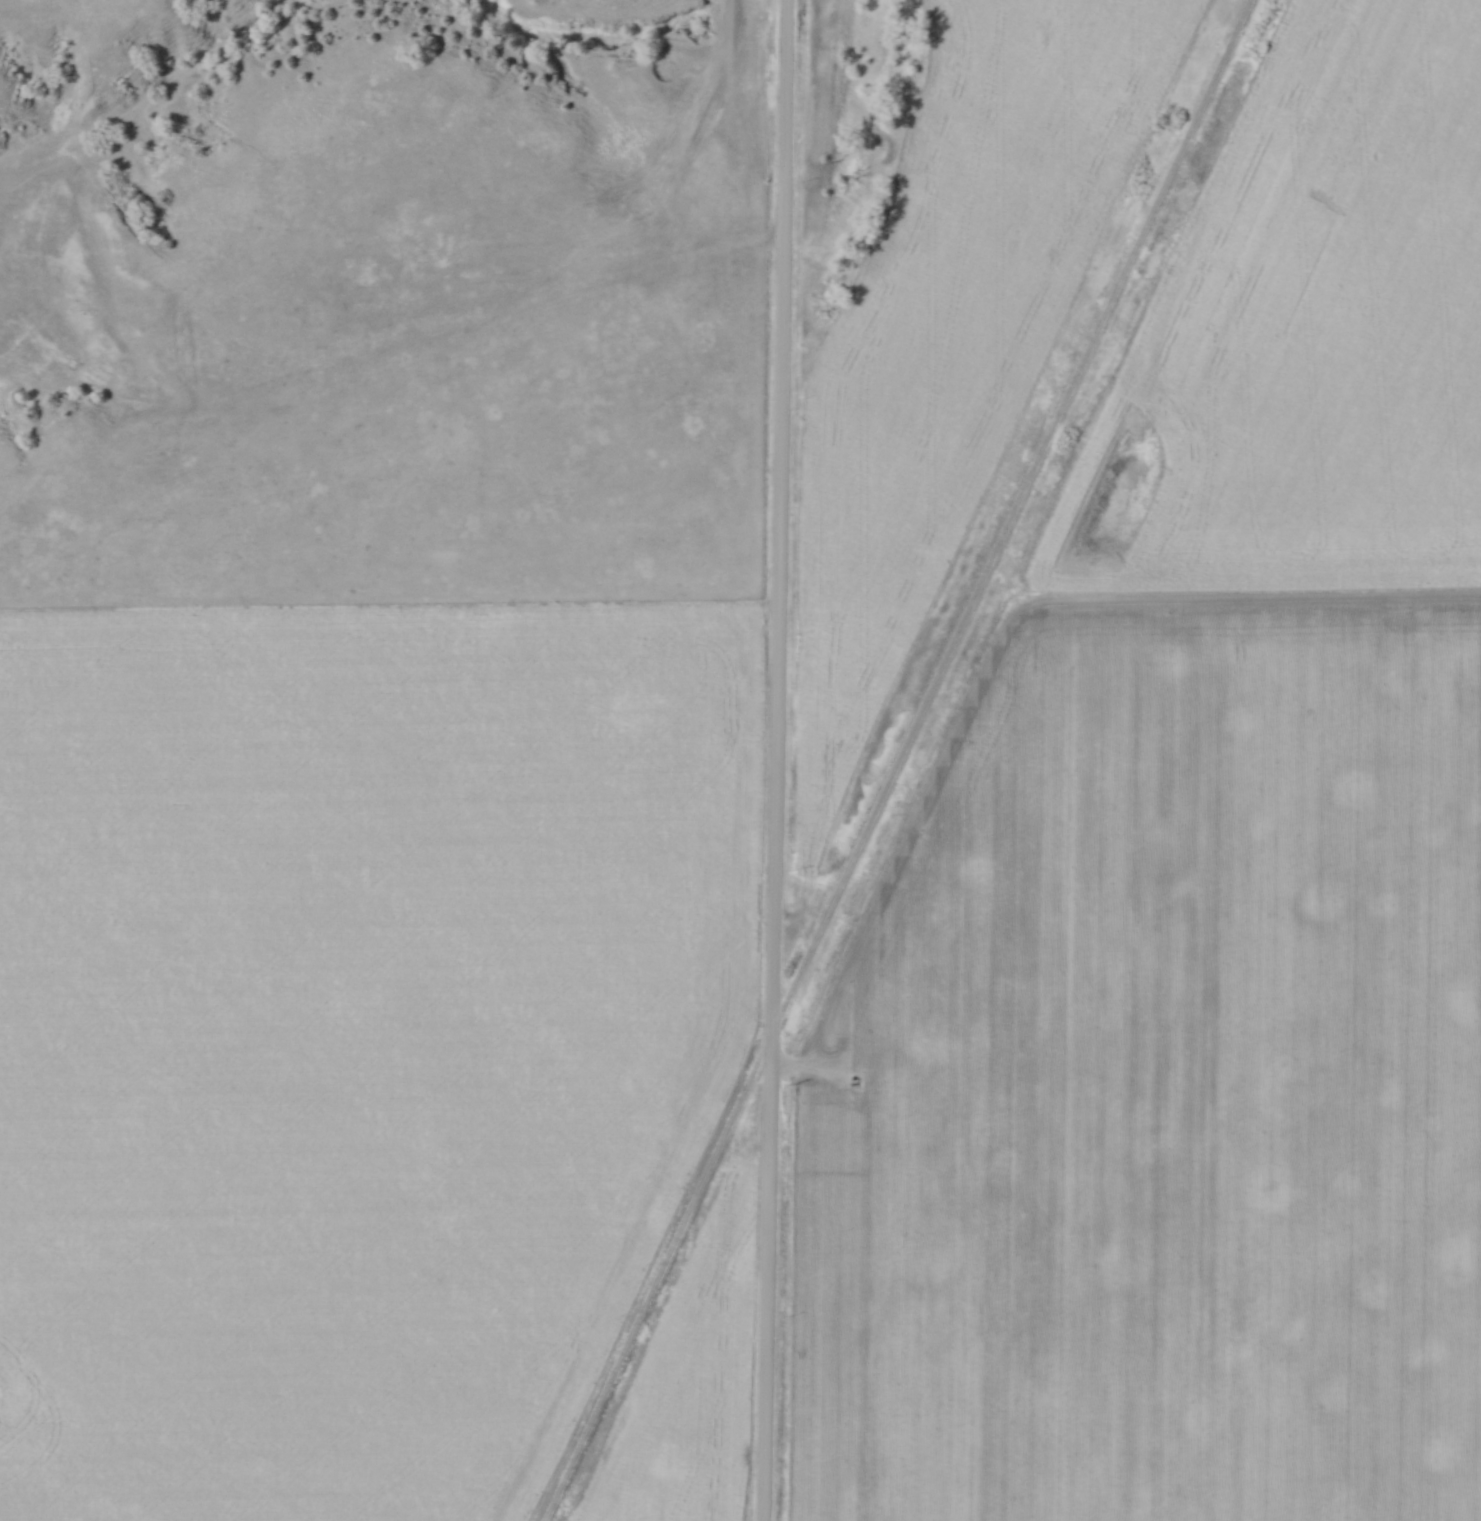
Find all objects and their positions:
crop: (959, 325)
crop: (1315, 332)
road: (775, 760)
railway: (911, 761)
crop: (354, 1036)
crop: (1169, 1093)
crop: (694, 1392)

